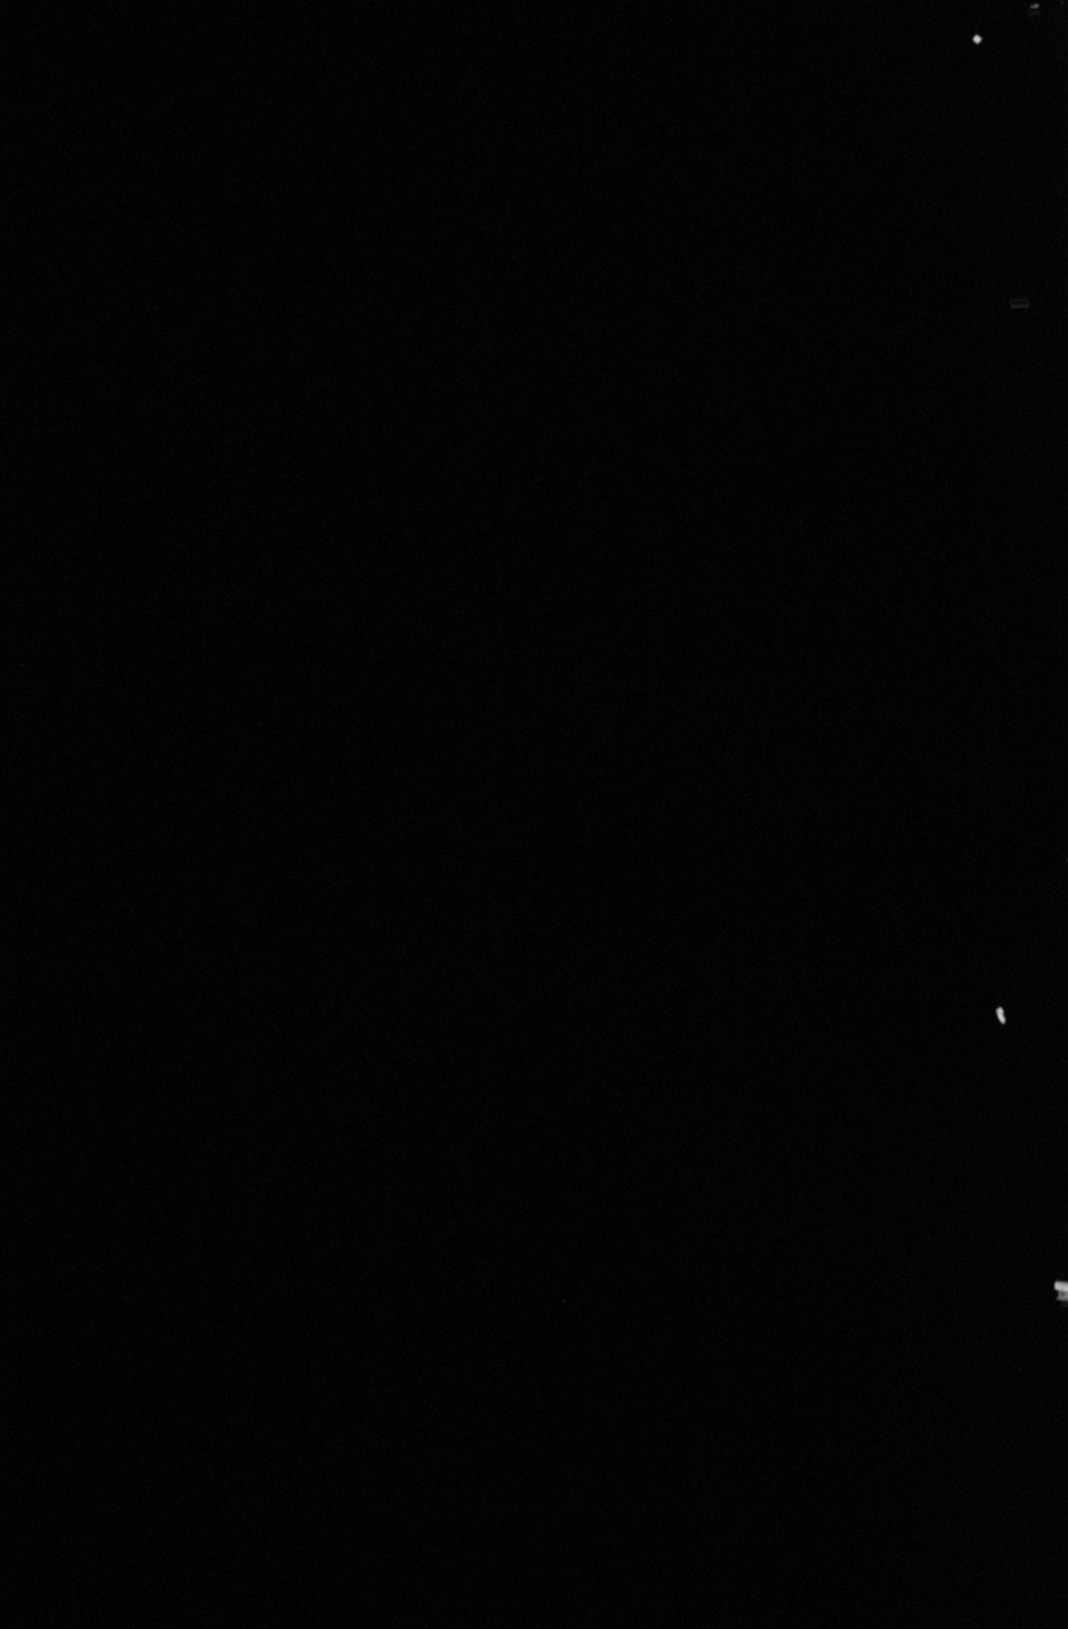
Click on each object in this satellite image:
building: (1064, 1290)

